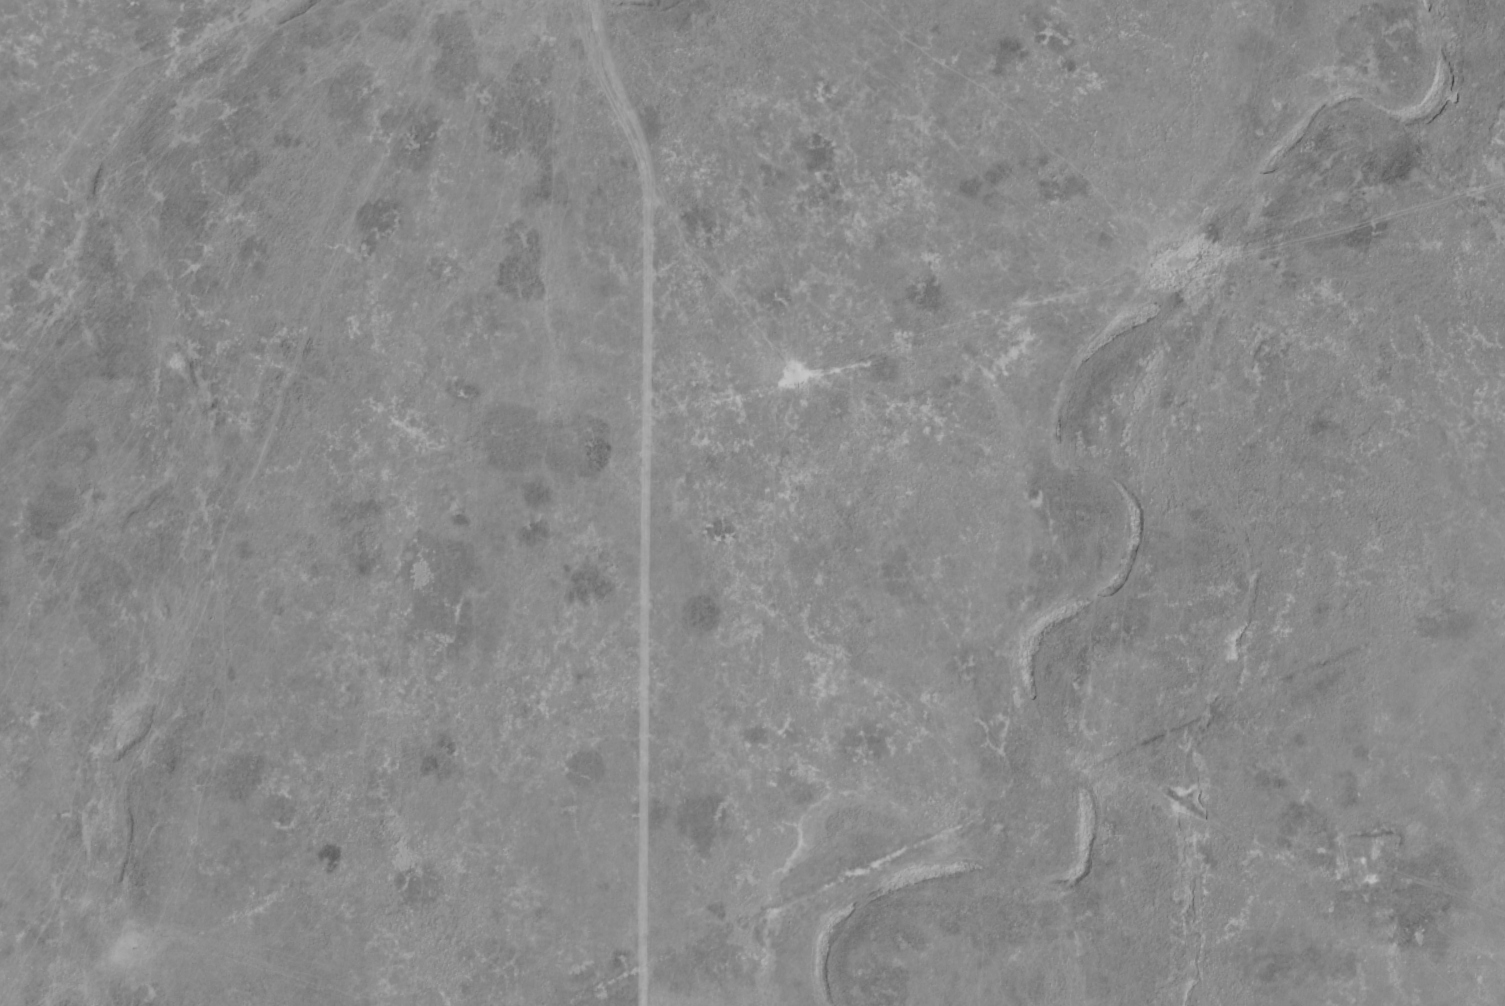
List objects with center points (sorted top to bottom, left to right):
road: (1355, 344)

